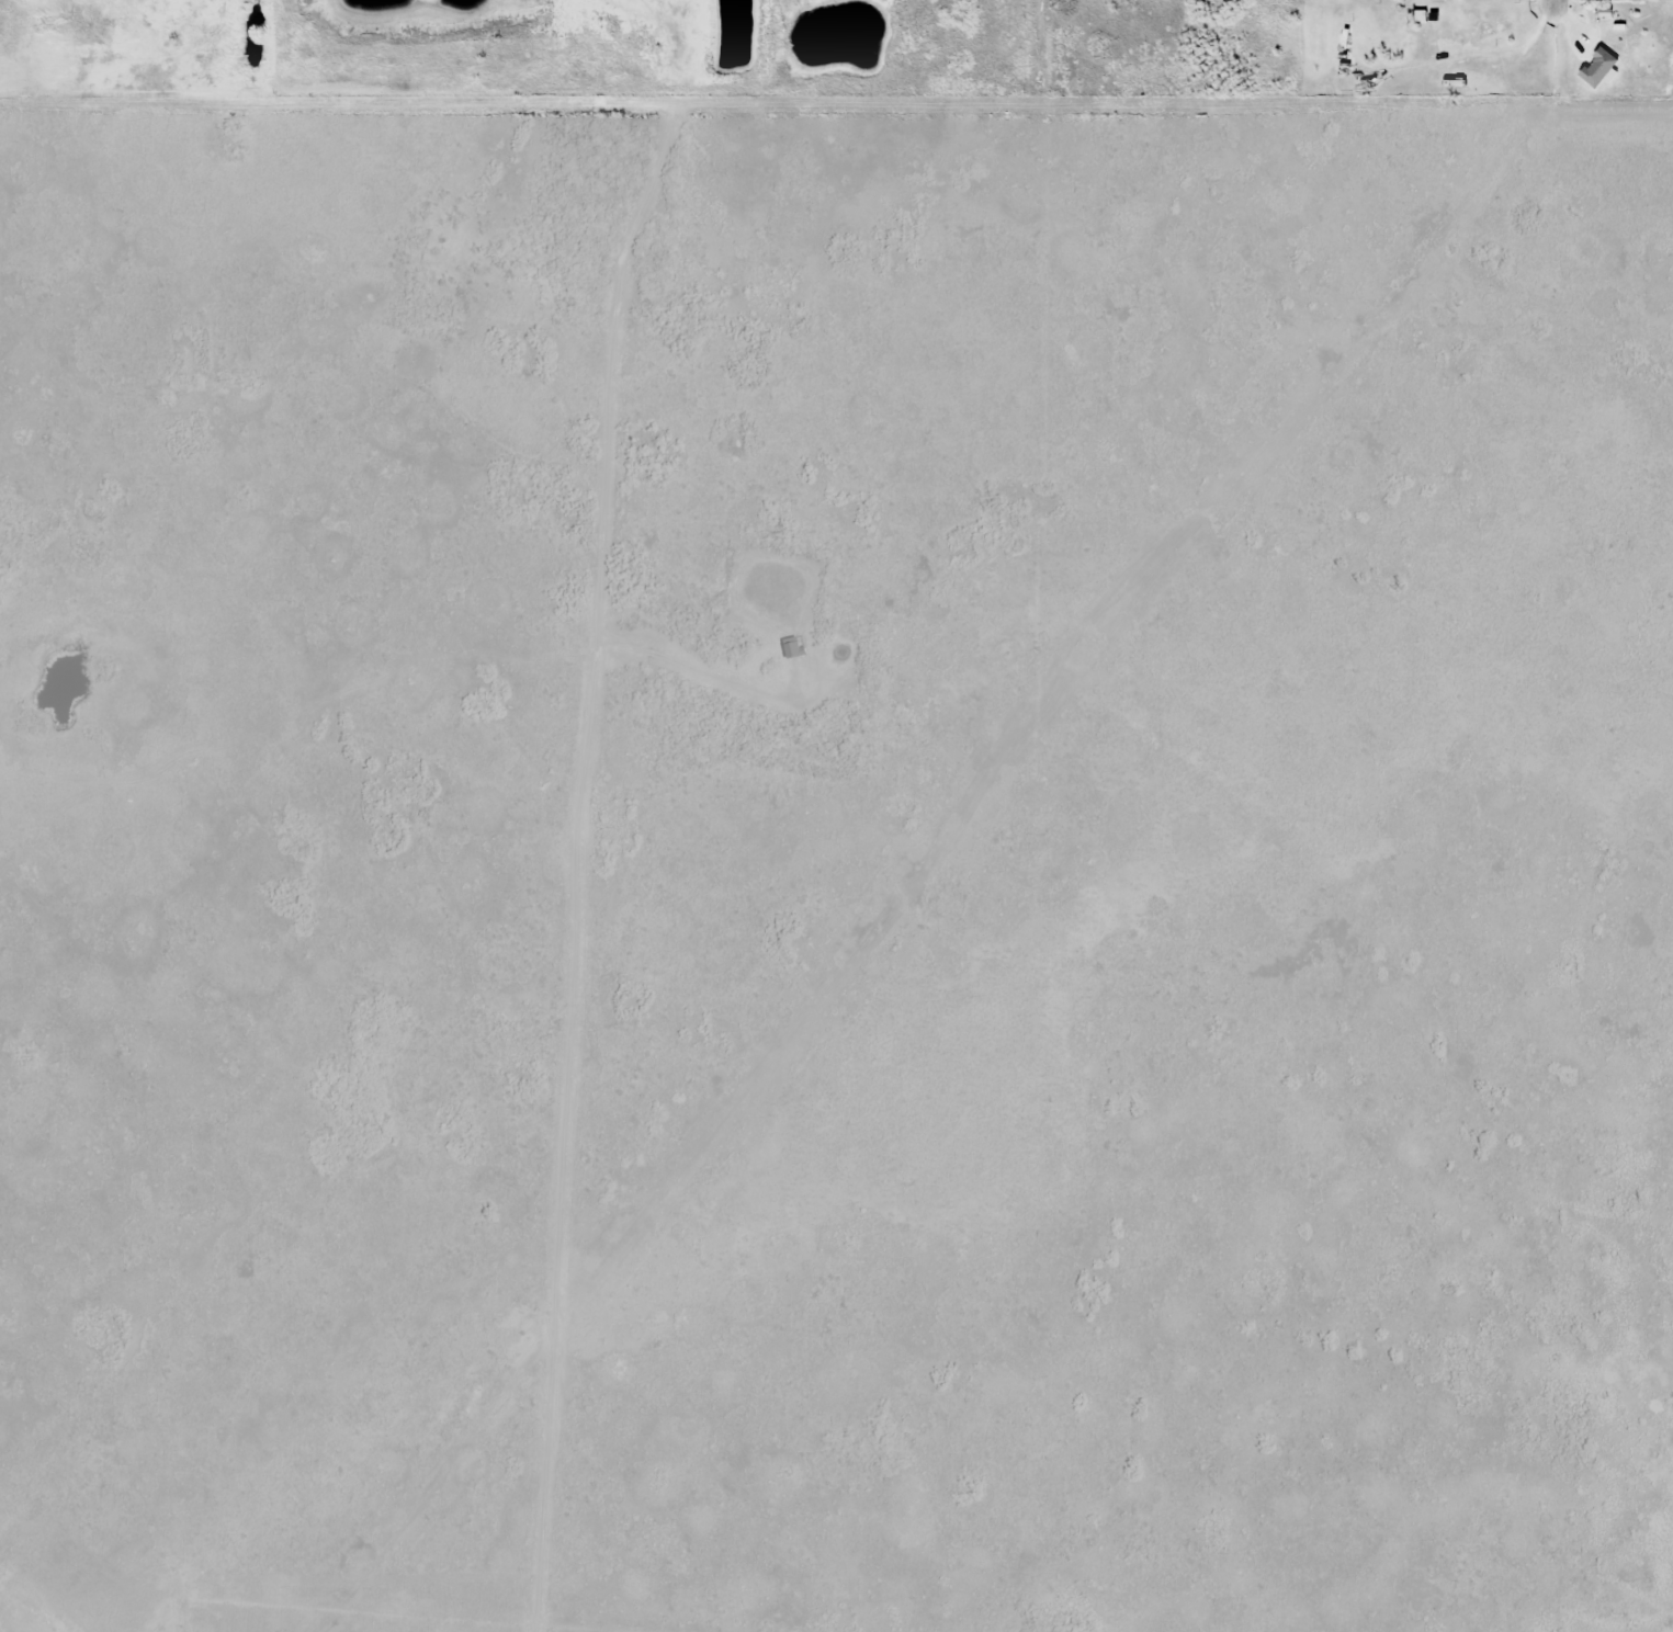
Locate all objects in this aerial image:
building: (1343, 42)
building: (1461, 82)

